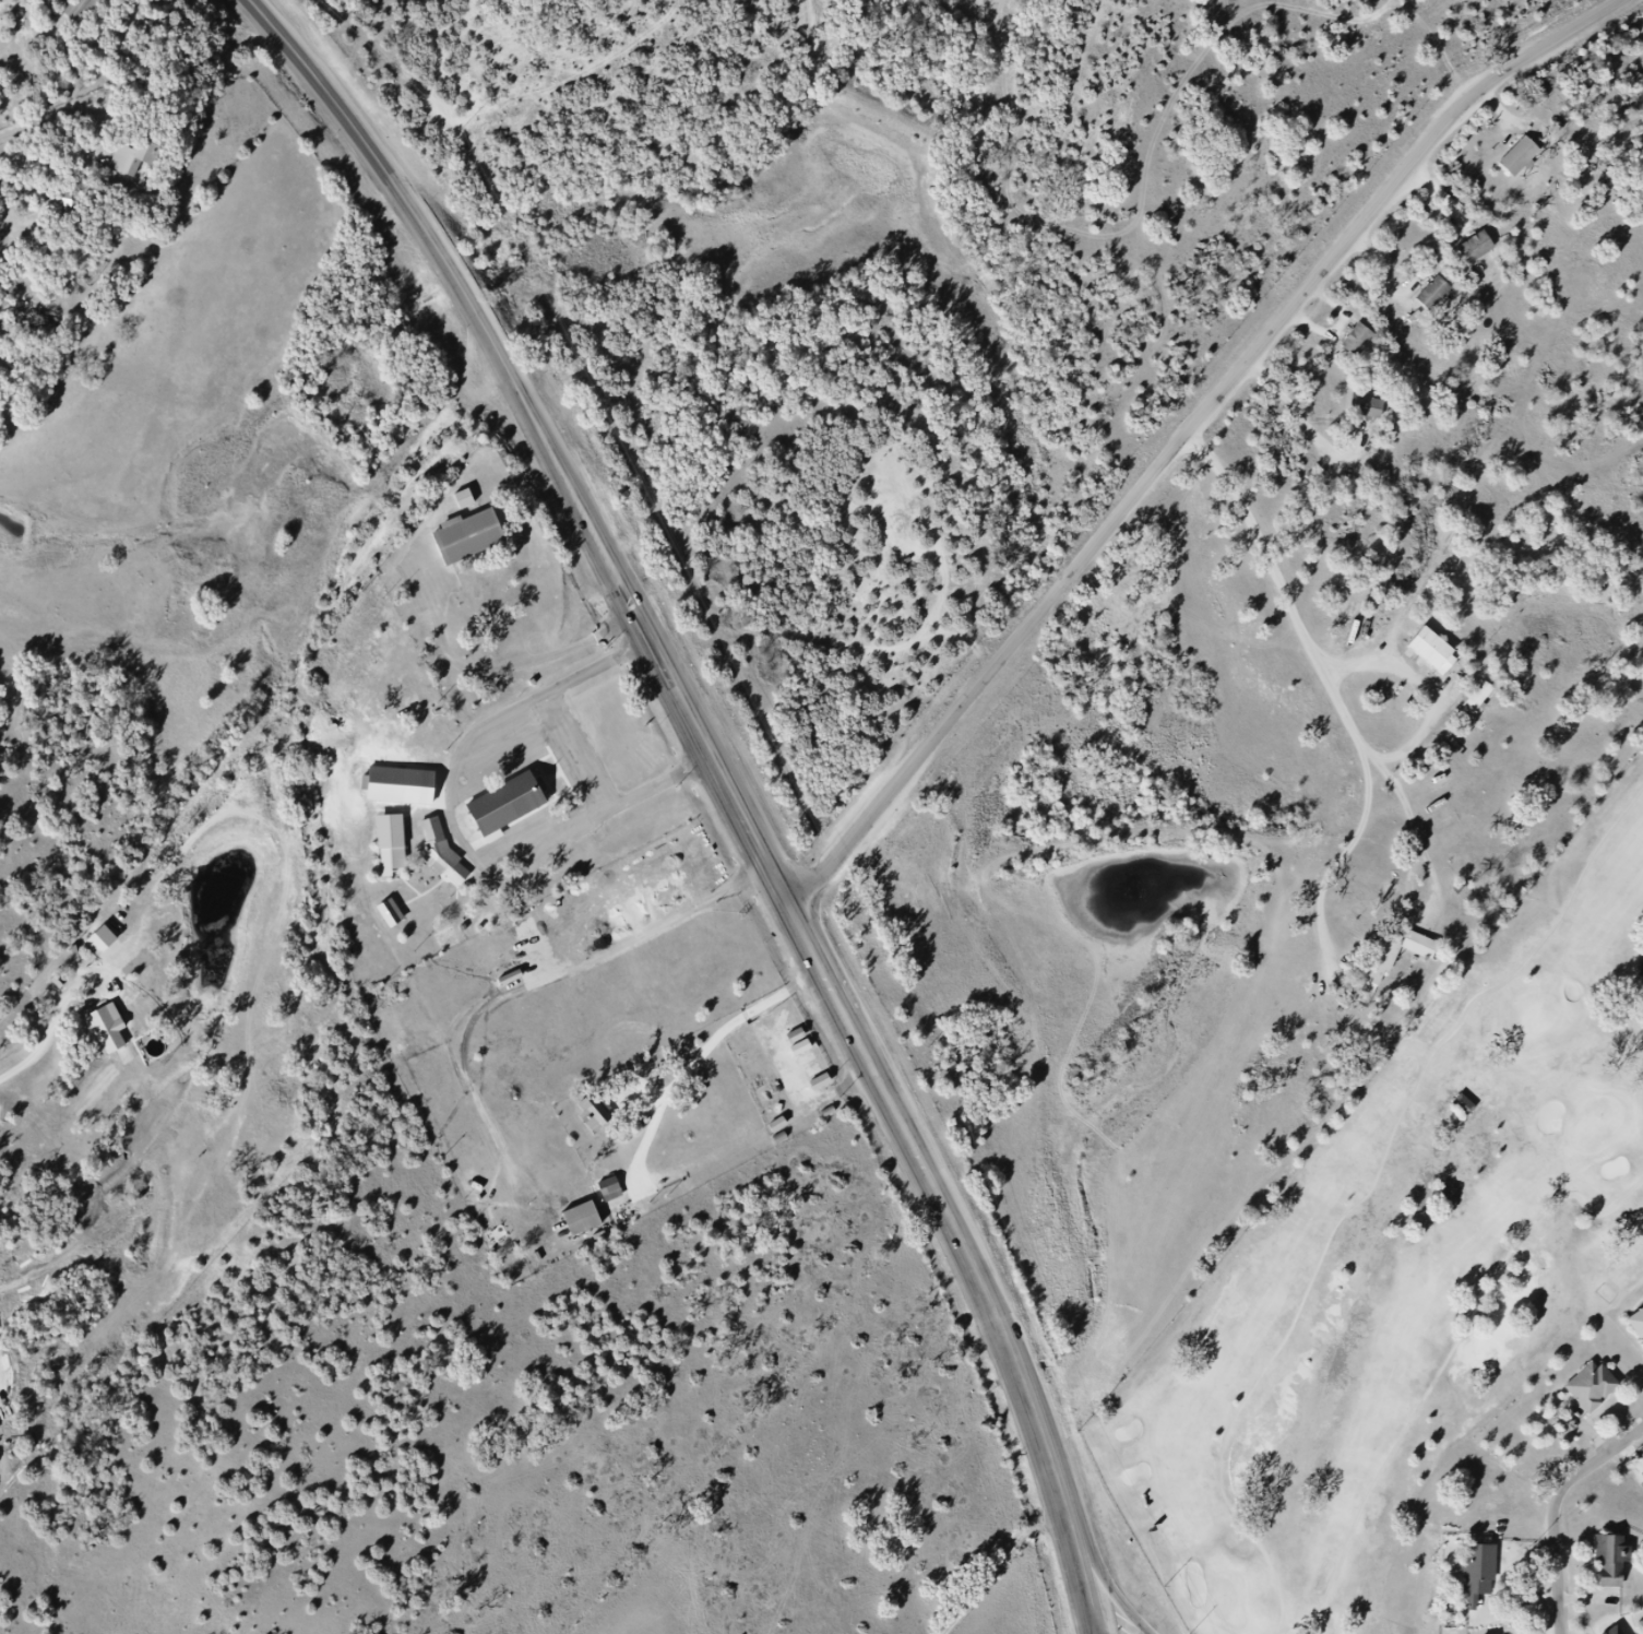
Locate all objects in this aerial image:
building: (96, 21)
road: (12, 128)
road: (359, 138)
building: (1525, 156)
building: (144, 164)
building: (71, 201)
building: (1477, 246)
building: (1433, 293)
building: (1357, 339)
building: (1367, 406)
road: (1186, 437)
building: (475, 546)
building: (1440, 656)
road: (1329, 677)
road: (1430, 687)
building: (1477, 697)
road: (575, 754)
road: (504, 756)
building: (393, 783)
parking lot: (593, 784)
building: (507, 803)
road: (539, 829)
road: (459, 834)
road: (1347, 861)
building: (386, 862)
building: (383, 910)
road: (806, 946)
building: (1401, 960)
park: (1537, 1020)
building: (1464, 1104)
building: (588, 1110)
park: (1596, 1123)
building: (602, 1185)
road: (1369, 1197)
building: (573, 1216)
park: (1432, 1315)
building: (1640, 1325)
road: (1445, 1361)
building: (1597, 1392)
road: (1562, 1513)
building: (1619, 1564)
road: (997, 1565)
building: (1484, 1577)
park: (1228, 1601)
road: (1105, 1631)
building: (1620, 1632)

